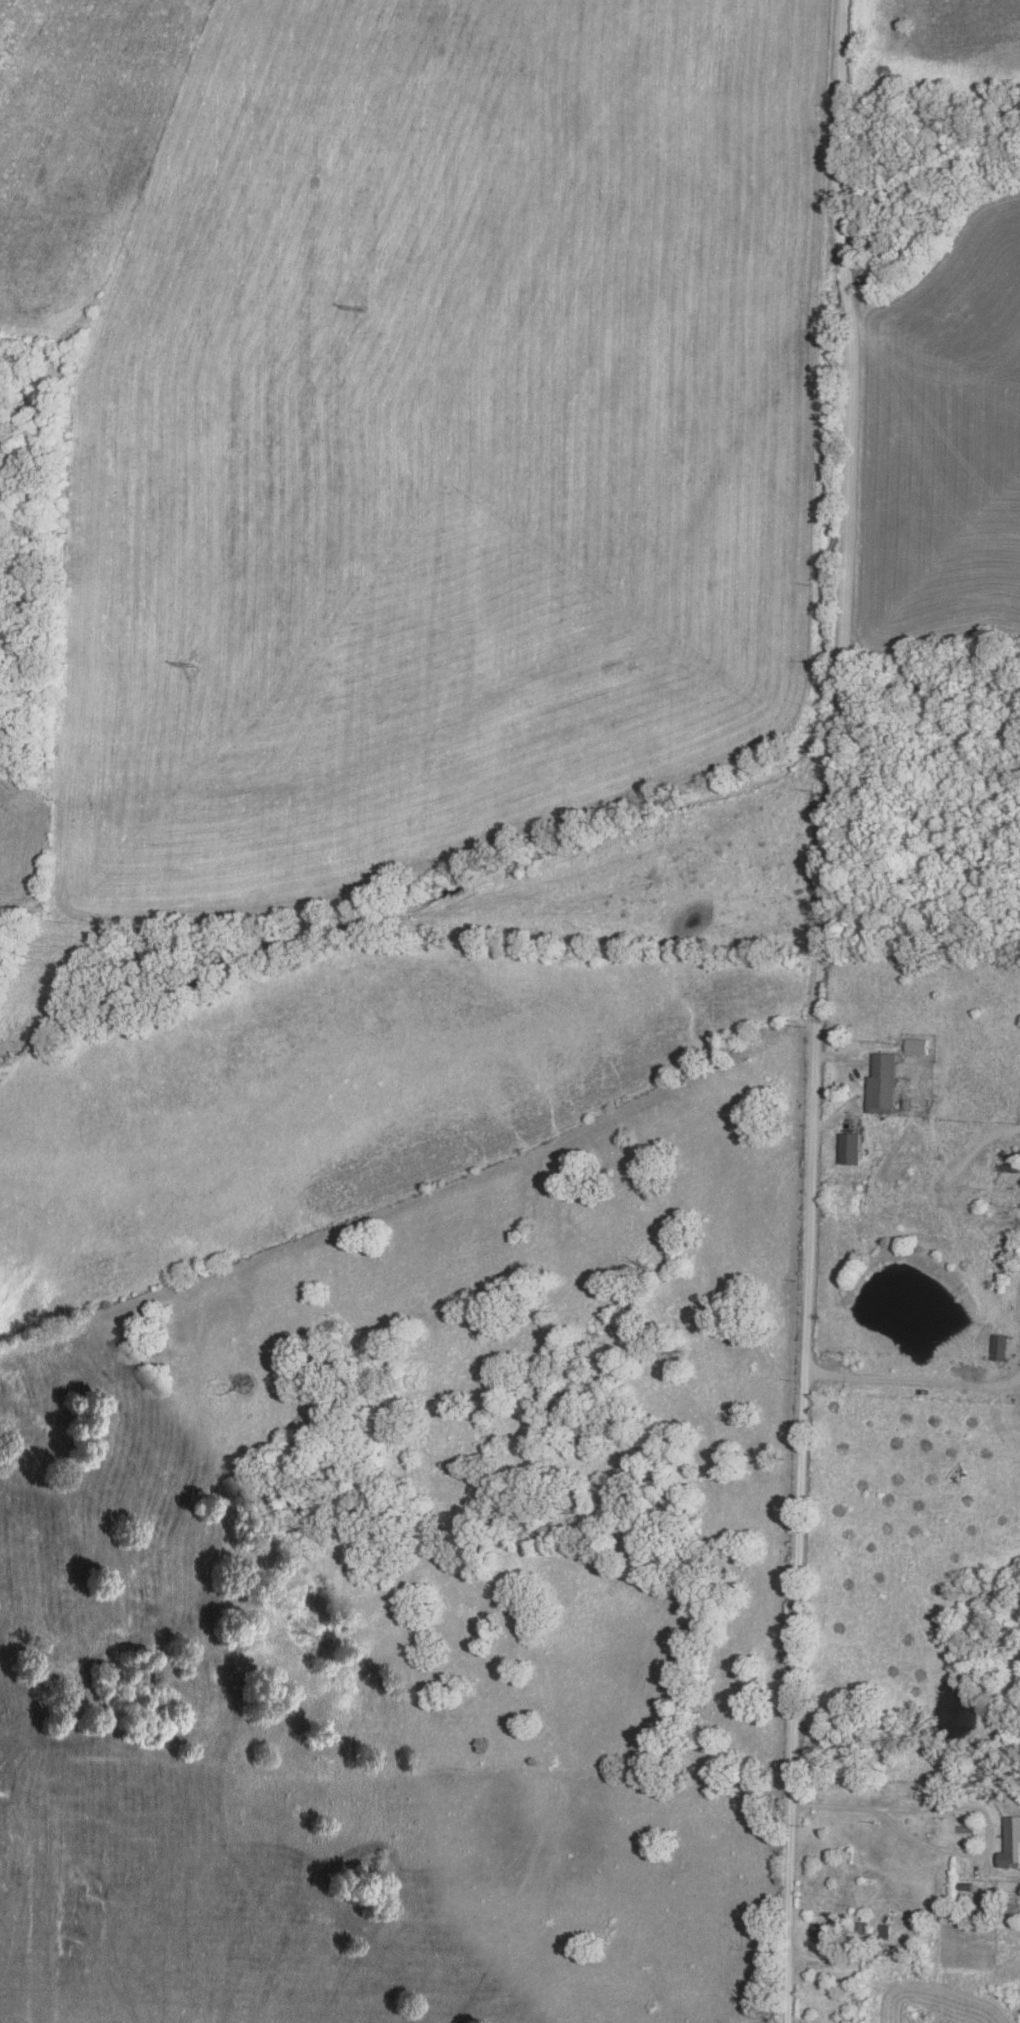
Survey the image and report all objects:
building: (0, 750)
road: (815, 1010)
building: (918, 1045)
building: (884, 1082)
building: (851, 1147)
building: (1001, 1346)
road: (912, 1375)
road: (5, 1728)
road: (926, 1798)
building: (1012, 1842)
building: (825, 1932)

